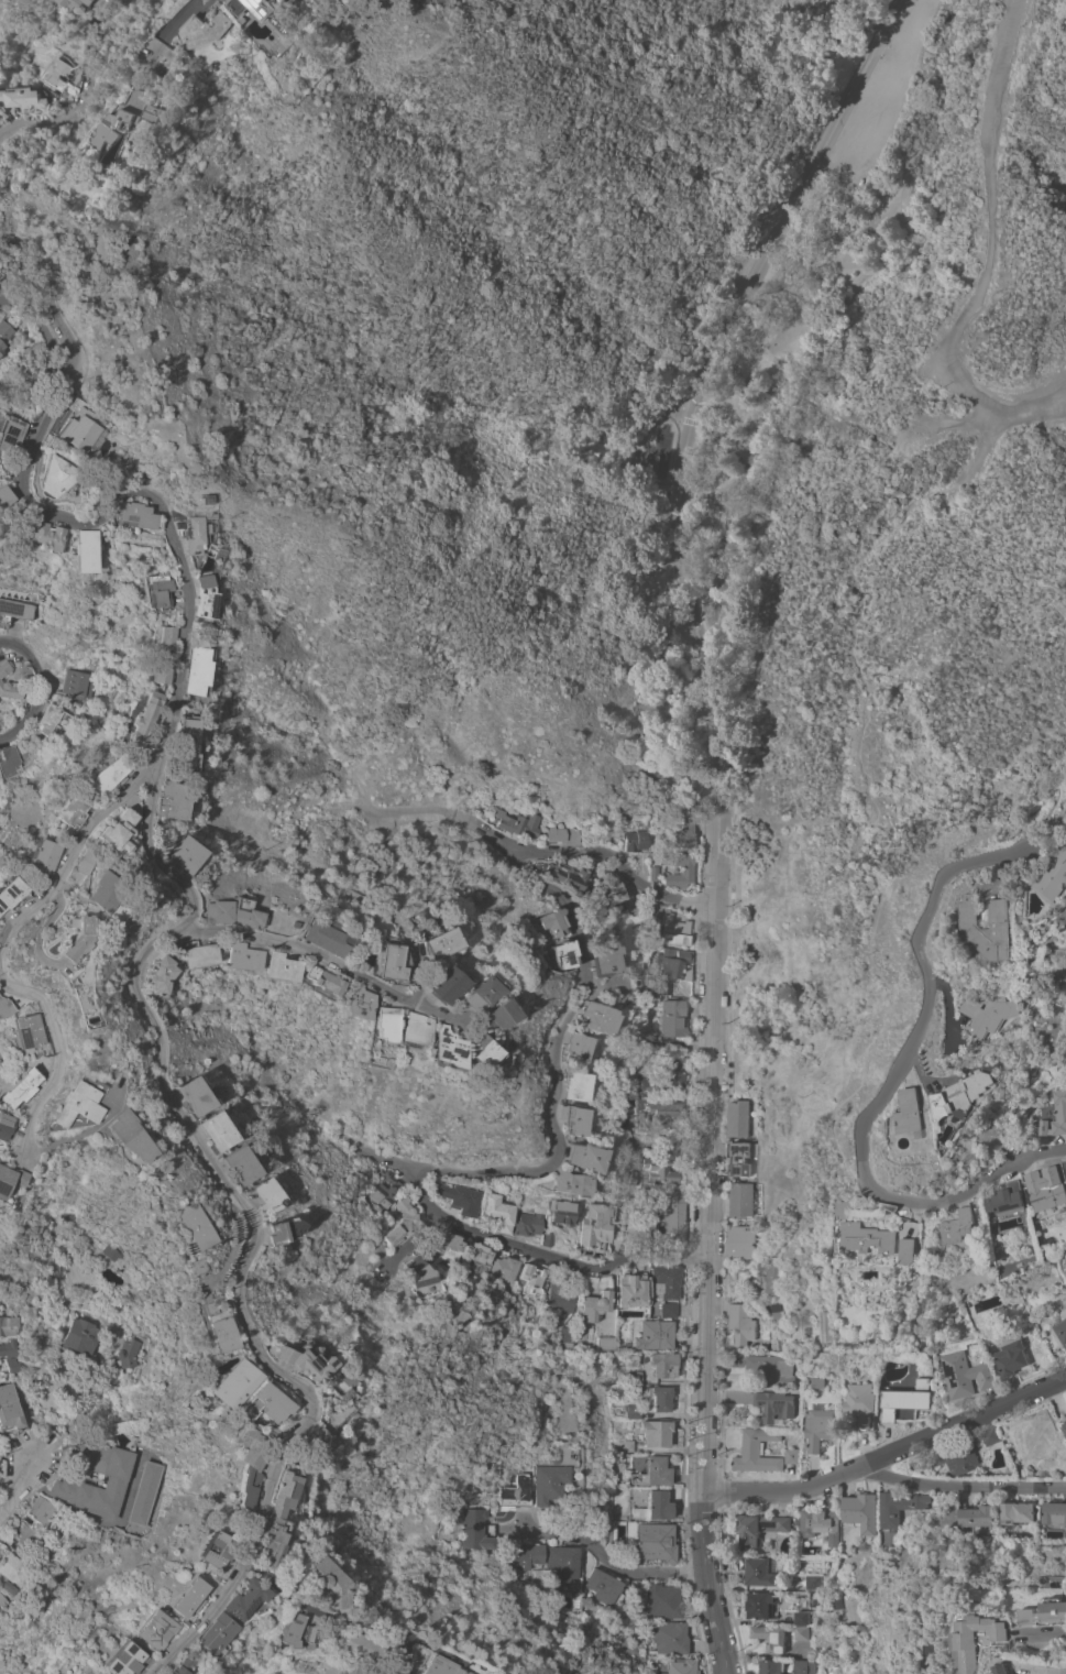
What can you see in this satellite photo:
building: (79, 3)
building: (260, 7)
building: (292, 18)
road: (190, 19)
building: (209, 29)
road: (884, 51)
building: (173, 64)
road: (876, 89)
road: (86, 92)
parking lot: (879, 95)
building: (23, 98)
building: (162, 112)
building: (0, 113)
building: (0, 116)
building: (122, 129)
road: (992, 250)
building: (1, 274)
road: (42, 326)
building: (4, 329)
building: (1, 347)
building: (33, 372)
road: (954, 423)
building: (76, 427)
road: (690, 431)
building: (10, 435)
building: (53, 477)
building: (3, 496)
building: (202, 499)
building: (135, 515)
building: (195, 533)
building: (43, 536)
building: (81, 549)
building: (215, 550)
building: (155, 590)
building: (202, 597)
road: (954, 609)
building: (13, 611)
building: (157, 654)
building: (6, 667)
building: (191, 671)
building: (80, 683)
road: (41, 687)
building: (13, 692)
building: (50, 719)
building: (138, 719)
building: (179, 742)
building: (9, 762)
building: (102, 774)
road: (872, 790)
building: (167, 800)
building: (63, 811)
building: (518, 823)
building: (110, 830)
building: (562, 834)
building: (684, 834)
building: (635, 840)
road: (67, 844)
building: (180, 853)
road: (597, 854)
building: (36, 855)
building: (75, 862)
building: (686, 868)
road: (318, 874)
building: (571, 875)
building: (1056, 879)
building: (609, 889)
building: (9, 890)
building: (94, 891)
road: (184, 902)
building: (655, 909)
building: (227, 912)
building: (350, 922)
building: (551, 922)
building: (975, 927)
building: (675, 930)
building: (367, 933)
building: (321, 938)
building: (67, 939)
building: (438, 942)
road: (296, 948)
building: (193, 954)
road: (409, 954)
building: (561, 954)
building: (238, 956)
building: (605, 959)
building: (387, 963)
building: (277, 966)
building: (672, 969)
building: (156, 976)
building: (319, 981)
building: (440, 985)
building: (475, 993)
building: (356, 1002)
building: (2, 1007)
road: (431, 1011)
building: (492, 1014)
building: (991, 1014)
building: (598, 1017)
building: (672, 1018)
building: (384, 1024)
building: (413, 1029)
building: (22, 1031)
building: (579, 1048)
building: (443, 1049)
building: (477, 1051)
road: (47, 1062)
building: (664, 1074)
road: (891, 1079)
building: (578, 1086)
building: (15, 1087)
building: (190, 1096)
building: (961, 1096)
building: (67, 1105)
building: (664, 1110)
building: (910, 1112)
building: (1055, 1115)
building: (737, 1118)
building: (574, 1119)
building: (2, 1123)
building: (211, 1130)
building: (121, 1136)
road: (378, 1157)
building: (586, 1157)
building: (740, 1158)
building: (233, 1164)
building: (1065, 1164)
building: (146, 1171)
road: (493, 1172)
building: (653, 1174)
building: (8, 1178)
building: (570, 1183)
building: (384, 1189)
building: (1044, 1191)
building: (261, 1195)
building: (460, 1197)
building: (1005, 1197)
building: (741, 1200)
building: (562, 1211)
building: (499, 1212)
building: (65, 1214)
building: (673, 1217)
building: (402, 1221)
building: (529, 1224)
building: (638, 1224)
building: (185, 1226)
building: (596, 1226)
building: (956, 1226)
building: (275, 1229)
building: (548, 1237)
building: (867, 1238)
road: (407, 1240)
building: (450, 1241)
building: (740, 1243)
building: (906, 1250)
building: (109, 1251)
building: (480, 1258)
building: (188, 1266)
building: (505, 1268)
building: (418, 1272)
building: (772, 1278)
building: (532, 1279)
building: (664, 1281)
building: (631, 1289)
road: (708, 1292)
building: (559, 1296)
building: (595, 1304)
building: (201, 1308)
building: (669, 1310)
building: (740, 1324)
building: (8, 1325)
building: (825, 1325)
building: (1062, 1327)
building: (652, 1333)
building: (215, 1334)
building: (80, 1337)
building: (565, 1337)
building: (605, 1343)
building: (11, 1348)
building: (128, 1352)
building: (1011, 1357)
building: (294, 1361)
building: (663, 1364)
building: (14, 1365)
building: (769, 1371)
building: (965, 1375)
building: (635, 1377)
building: (226, 1382)
building: (658, 1397)
building: (897, 1401)
building: (254, 1404)
building: (860, 1404)
building: (9, 1407)
building: (776, 1407)
building: (634, 1412)
building: (1064, 1425)
building: (817, 1429)
building: (656, 1432)
building: (989, 1435)
building: (303, 1444)
building: (623, 1446)
building: (757, 1451)
road: (891, 1453)
building: (791, 1456)
building: (960, 1458)
building: (240, 1464)
road: (25, 1469)
building: (653, 1471)
building: (116, 1479)
building: (549, 1482)
road: (964, 1486)
building: (516, 1490)
building: (145, 1492)
building: (273, 1495)
building: (655, 1506)
building: (899, 1508)
building: (40, 1509)
building: (860, 1511)
building: (1055, 1513)
building: (1016, 1514)
building: (976, 1517)
building: (64, 1518)
building: (820, 1524)
building: (72, 1528)
building: (759, 1528)
building: (472, 1529)
building: (31, 1539)
building: (260, 1542)
building: (653, 1543)
building: (209, 1549)
building: (527, 1554)
road: (604, 1554)
building: (29, 1557)
building: (563, 1562)
building: (11, 1567)
building: (758, 1572)
building: (319, 1582)
building: (813, 1582)
building: (10, 1587)
building: (604, 1587)
building: (179, 1597)
building: (235, 1599)
building: (3, 1601)
building: (663, 1601)
building: (760, 1605)
building: (1045, 1611)
building: (801, 1618)
road: (330, 1622)
building: (146, 1629)
building: (318, 1631)
building: (287, 1632)
building: (799, 1632)
road: (1043, 1632)
building: (205, 1635)
building: (770, 1637)
building: (977, 1637)
building: (672, 1638)
building: (351, 1644)
building: (114, 1659)
building: (169, 1666)
building: (430, 1666)
building: (682, 1666)
building: (771, 1666)
building: (861, 1666)
building: (804, 1667)
building: (1005, 1668)
road: (1048, 1670)

